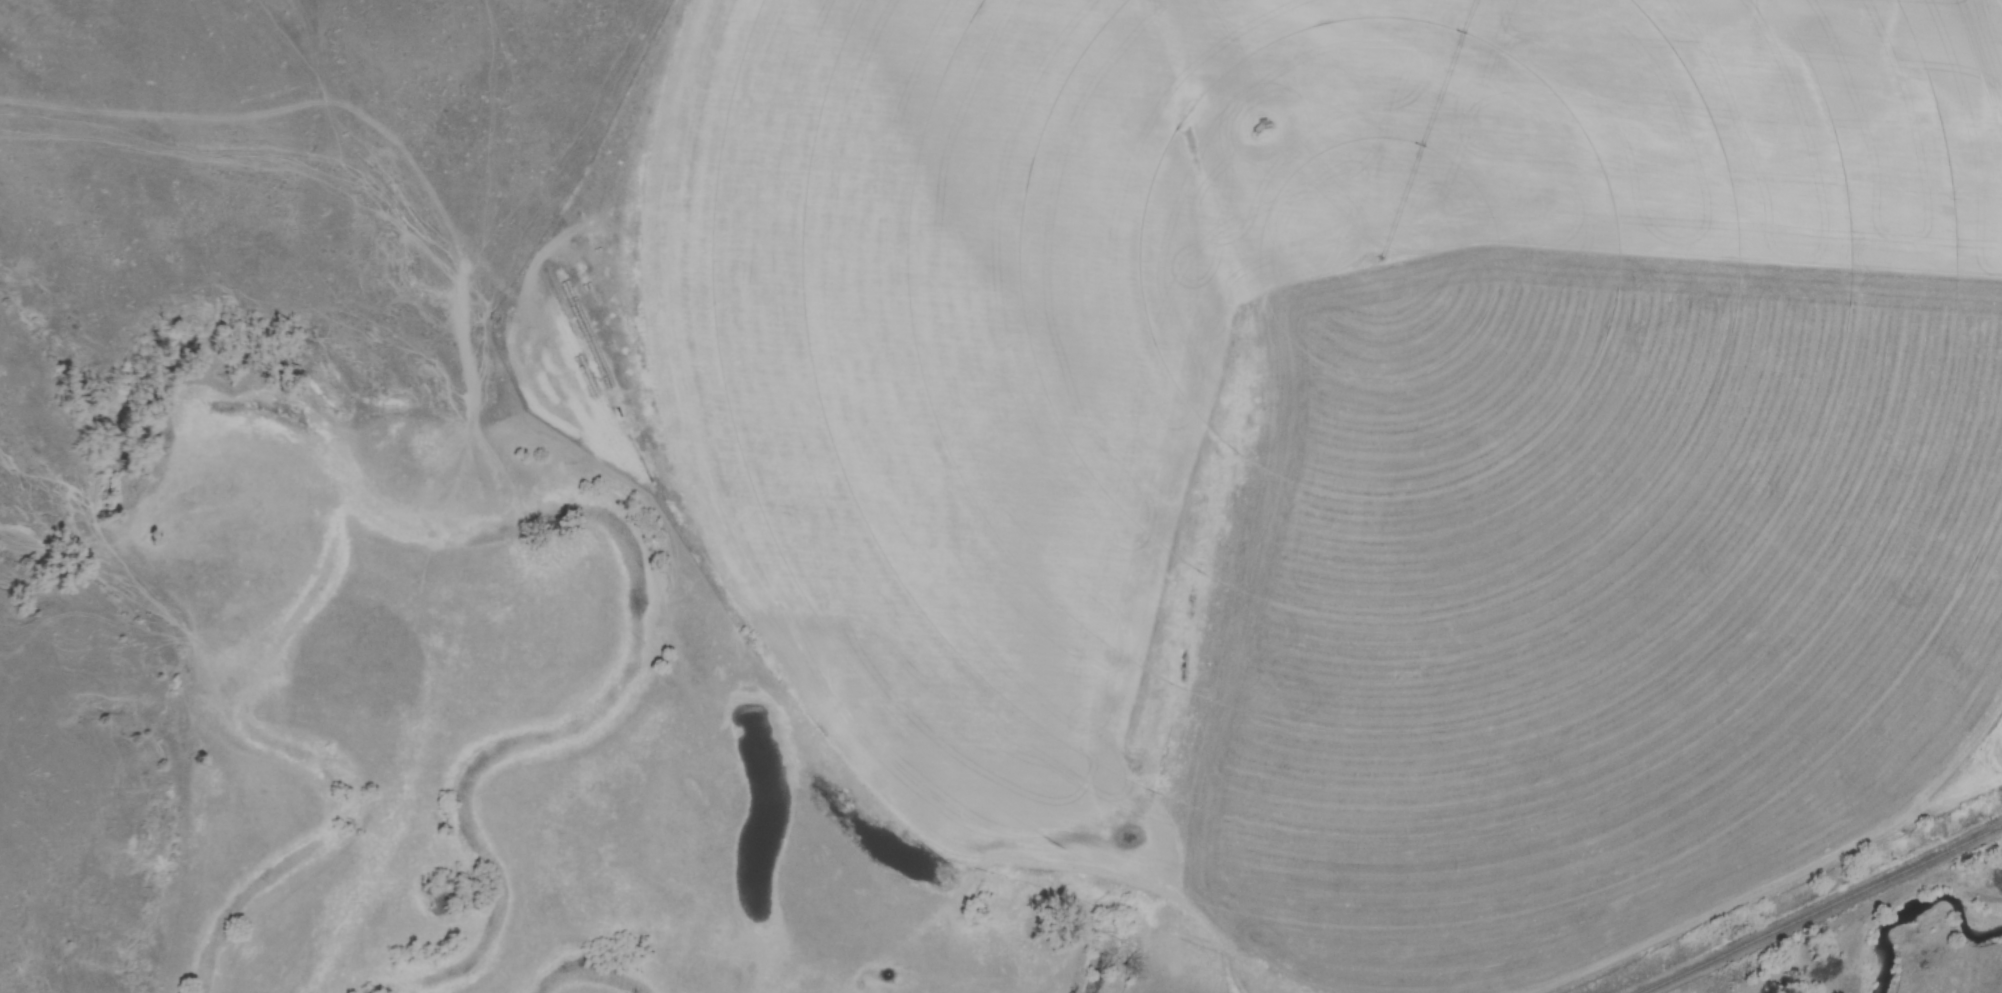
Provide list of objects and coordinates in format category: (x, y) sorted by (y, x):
railway: (1821, 909)

